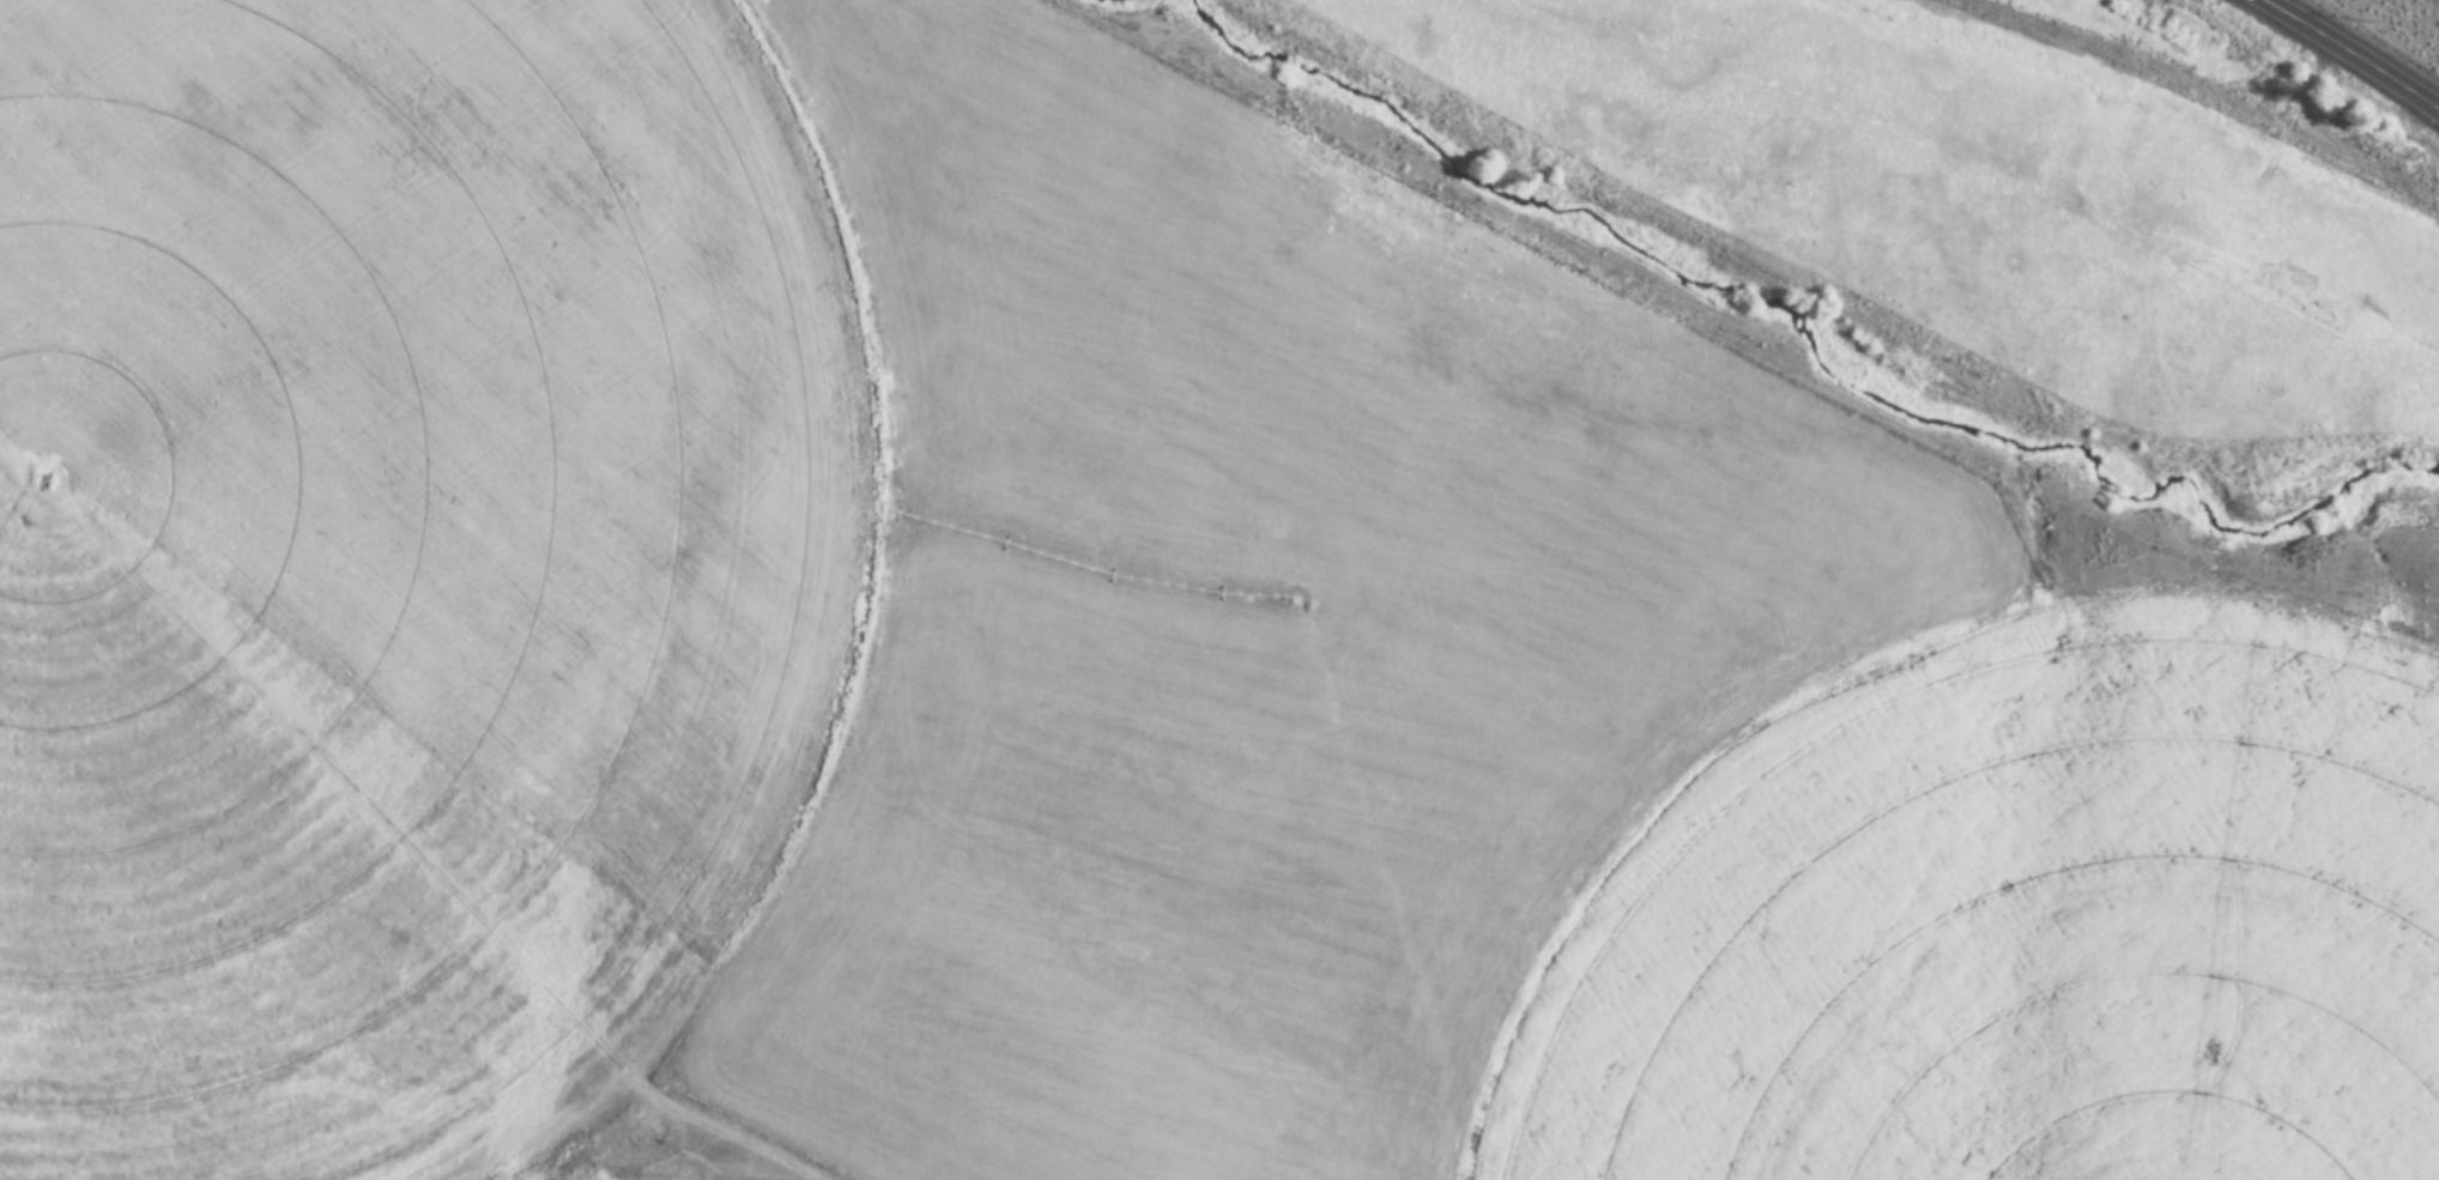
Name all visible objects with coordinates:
road: (2352, 50)

